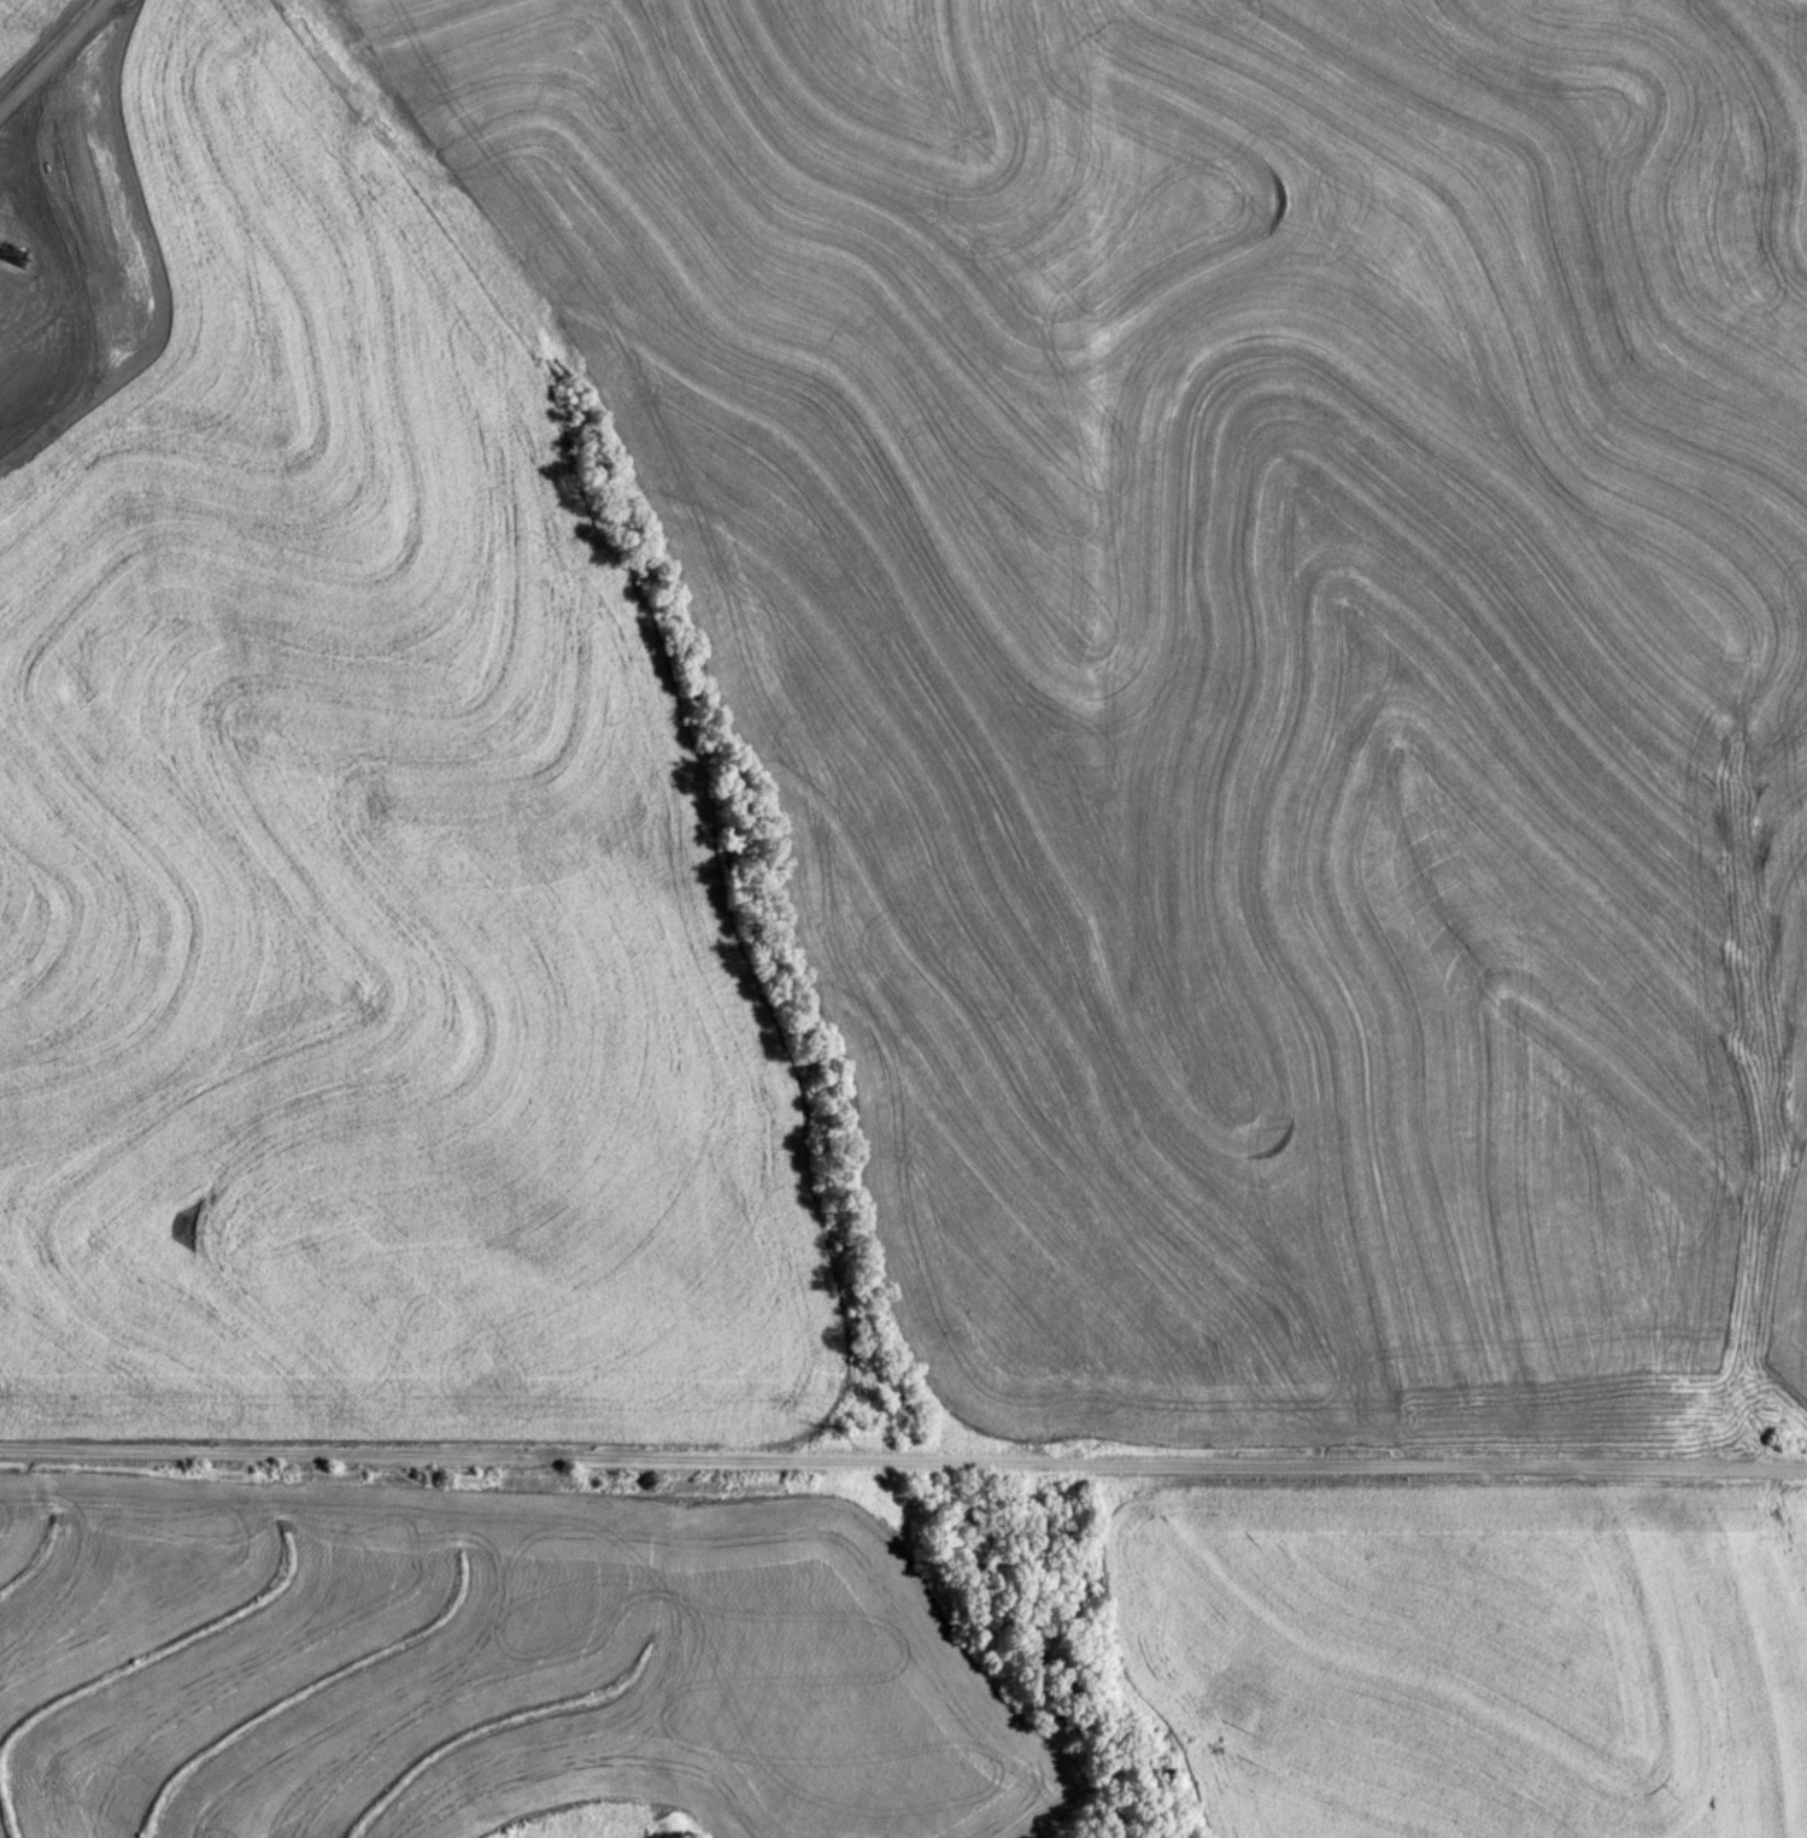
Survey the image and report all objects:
road: (903, 1458)

